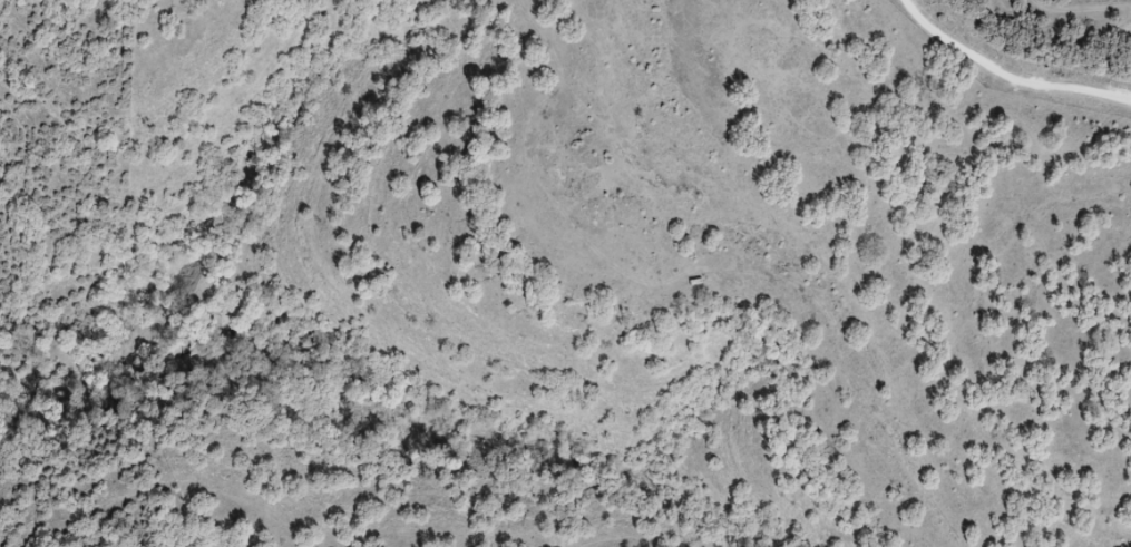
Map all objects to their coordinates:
road: (1006, 74)

